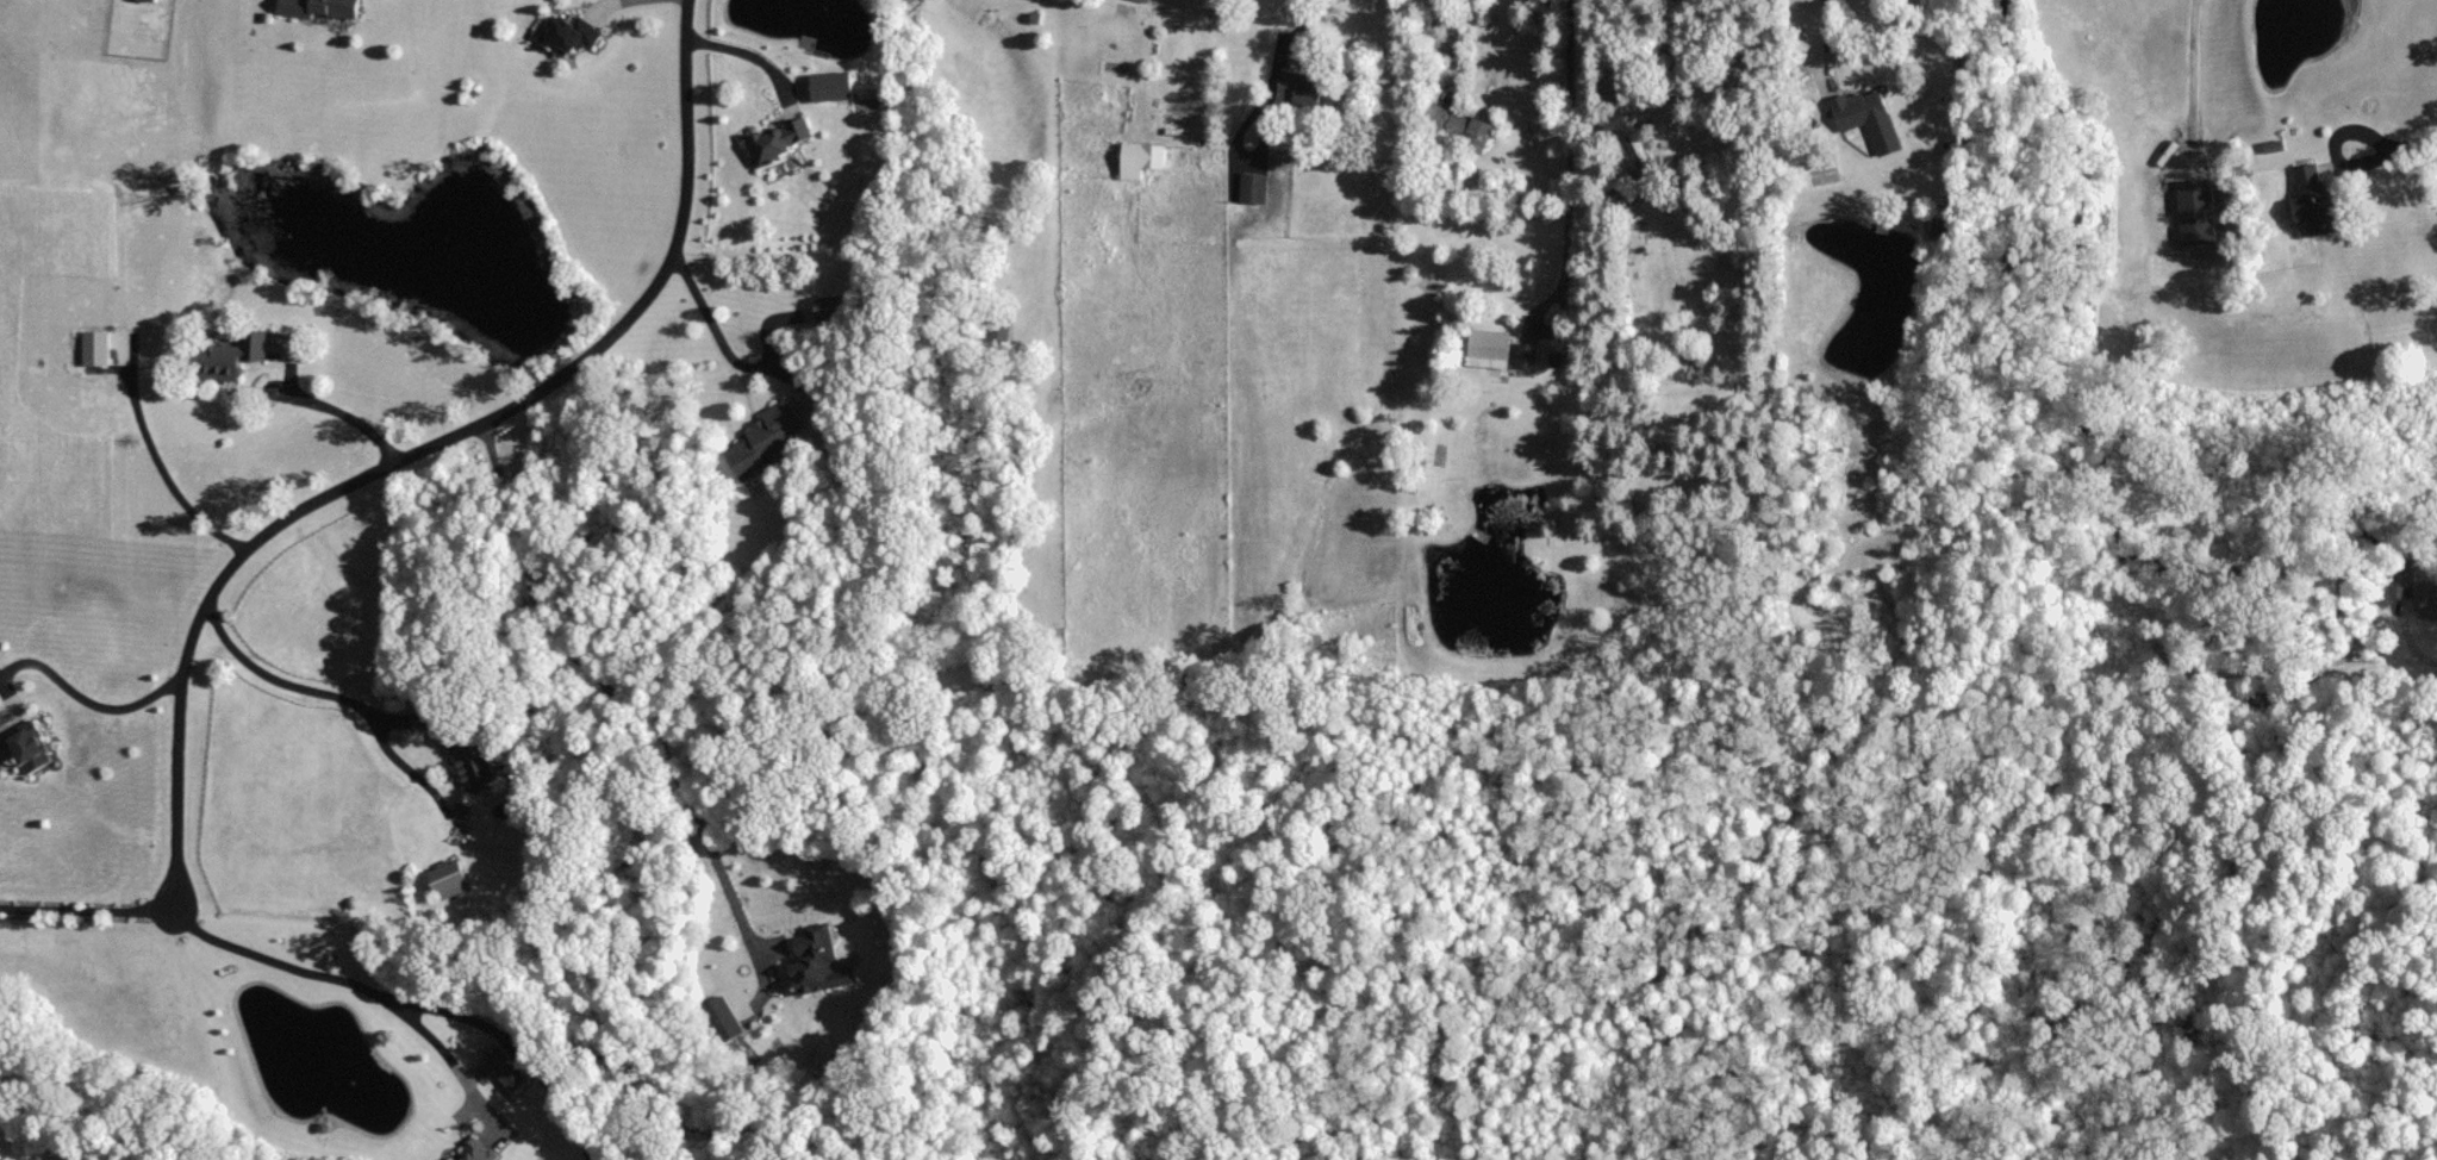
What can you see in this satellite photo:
building: (329, 7)
road: (1296, 15)
road: (1454, 37)
road: (744, 40)
road: (1826, 43)
road: (2193, 77)
building: (837, 85)
building: (1882, 137)
road: (2417, 138)
building: (789, 139)
road: (1569, 141)
road: (2332, 144)
building: (1135, 158)
building: (1248, 186)
building: (2195, 192)
building: (2310, 198)
park: (2286, 255)
building: (828, 306)
road: (713, 314)
road: (1539, 329)
building: (239, 356)
road: (347, 414)
road: (426, 443)
road: (167, 466)
road: (328, 681)
road: (83, 696)
road: (640, 705)
building: (36, 747)
road: (87, 897)
road: (282, 950)
building: (798, 955)
road: (441, 1035)
road: (522, 1042)

